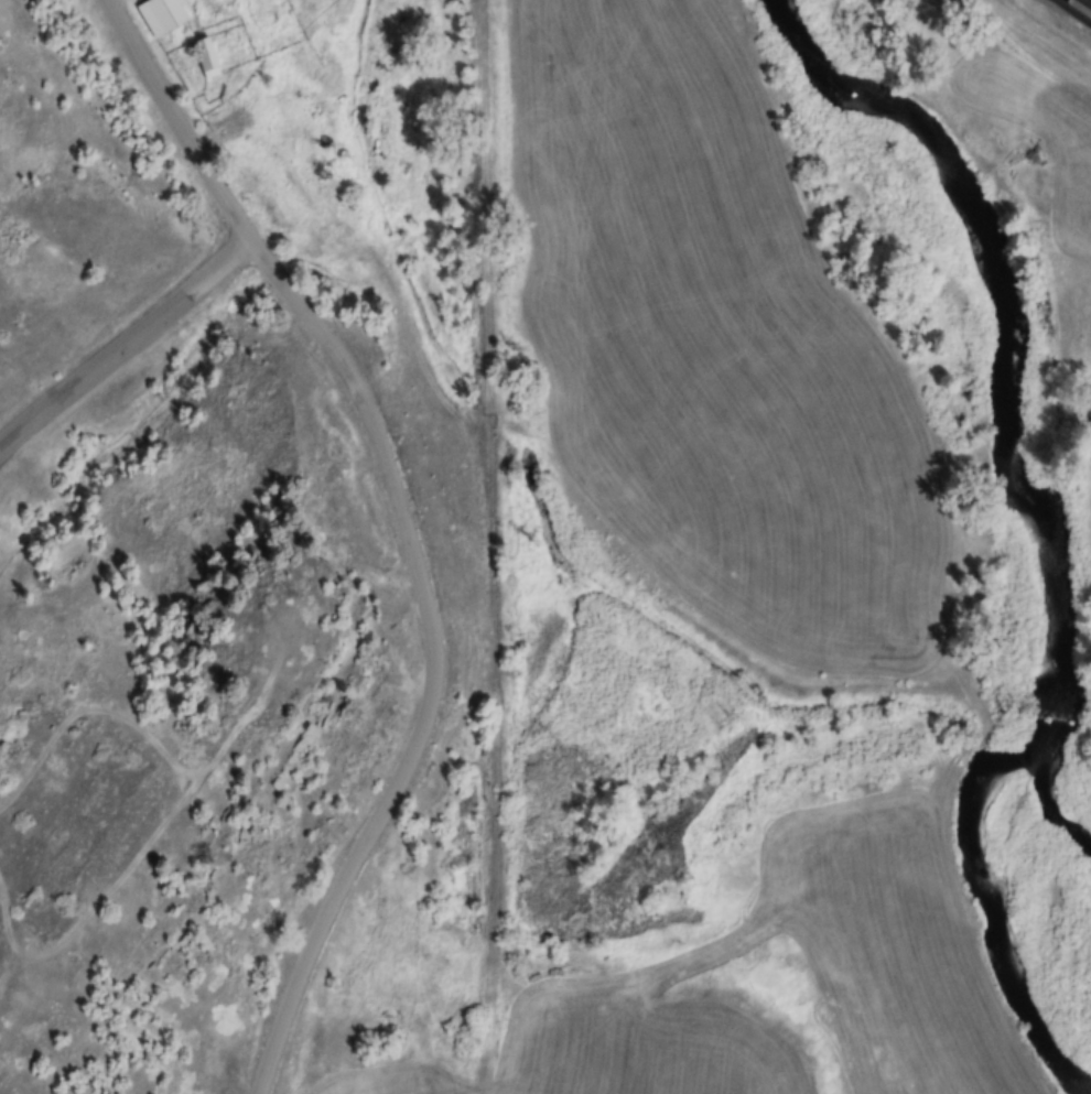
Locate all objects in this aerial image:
road: (1087, 2)
building: (162, 15)
building: (207, 58)
river: (1013, 315)
road: (121, 344)
road: (404, 528)
river: (1049, 714)
dam: (1055, 718)
river: (994, 911)

